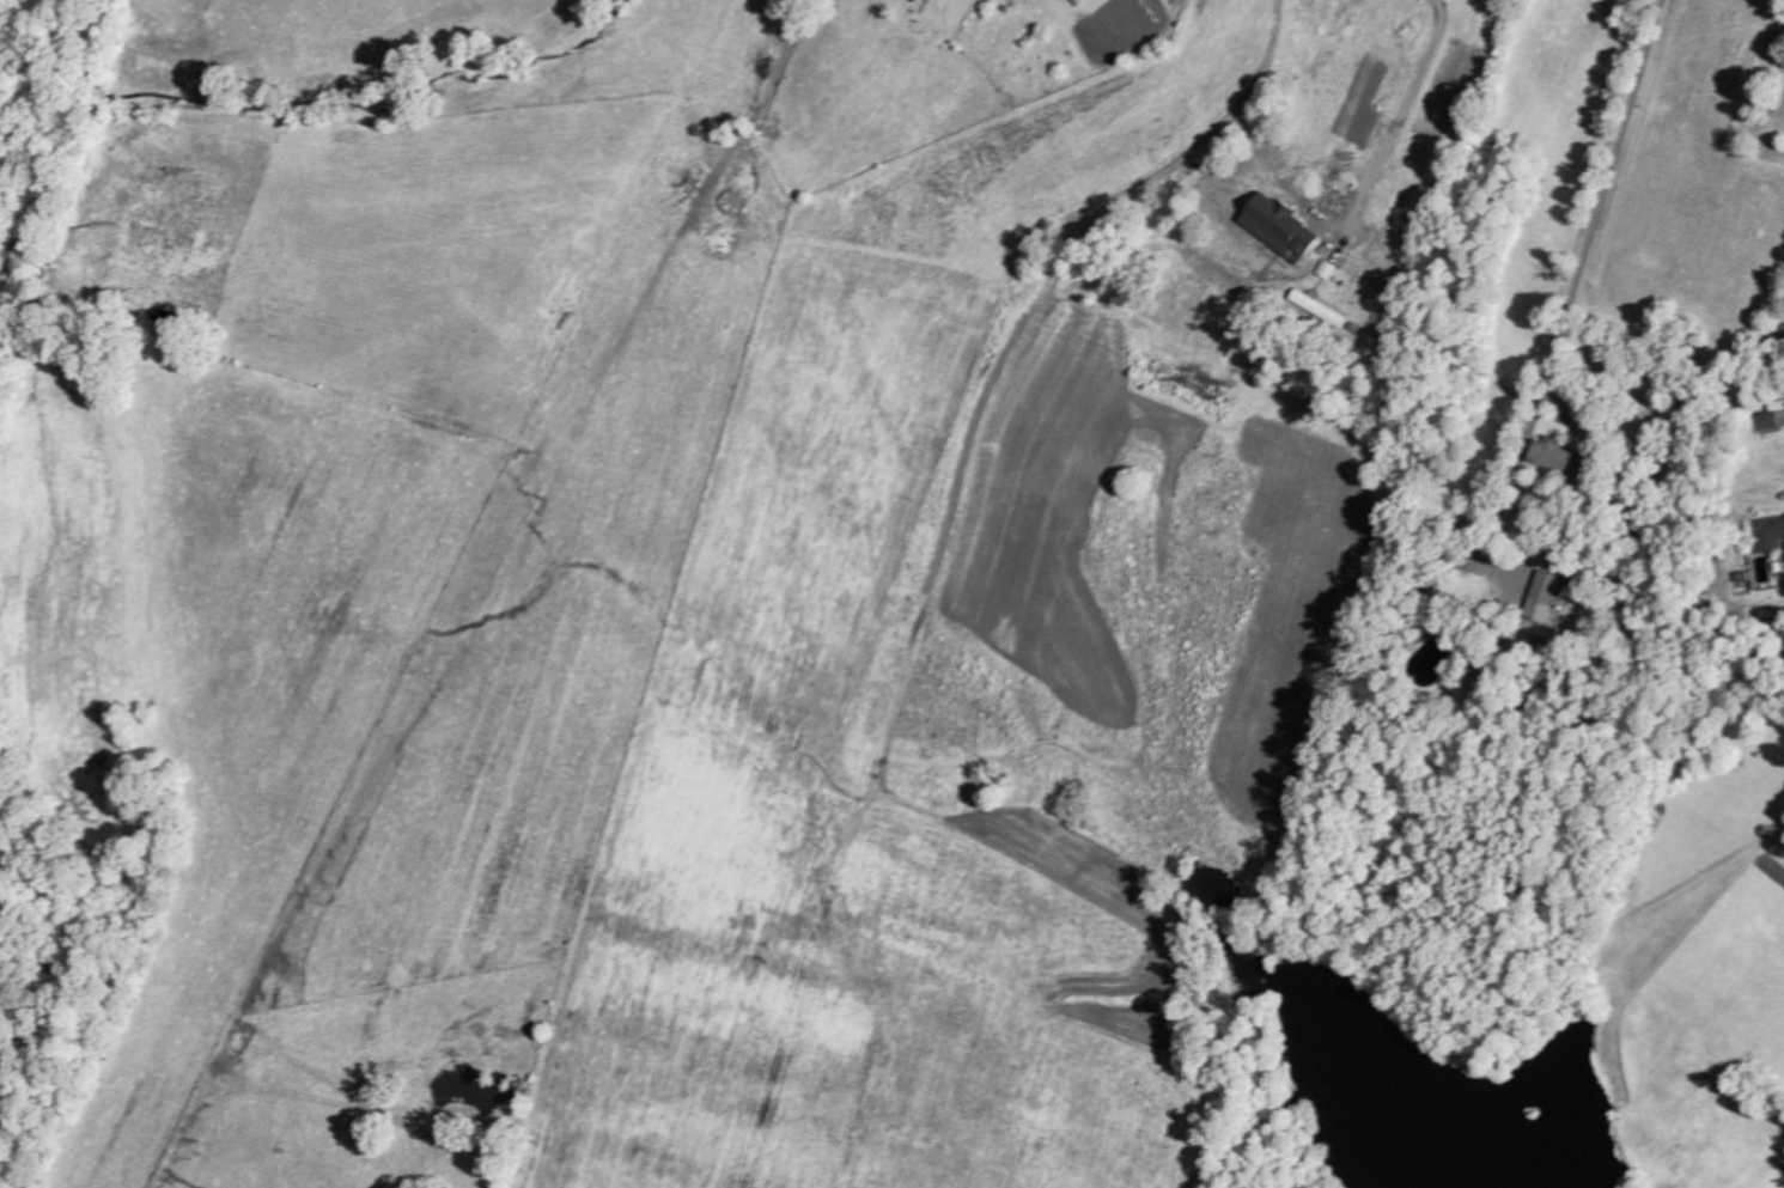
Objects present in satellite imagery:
building: (1320, 309)
building: (1555, 457)
building: (1770, 532)
building: (1467, 558)
building: (1545, 597)

